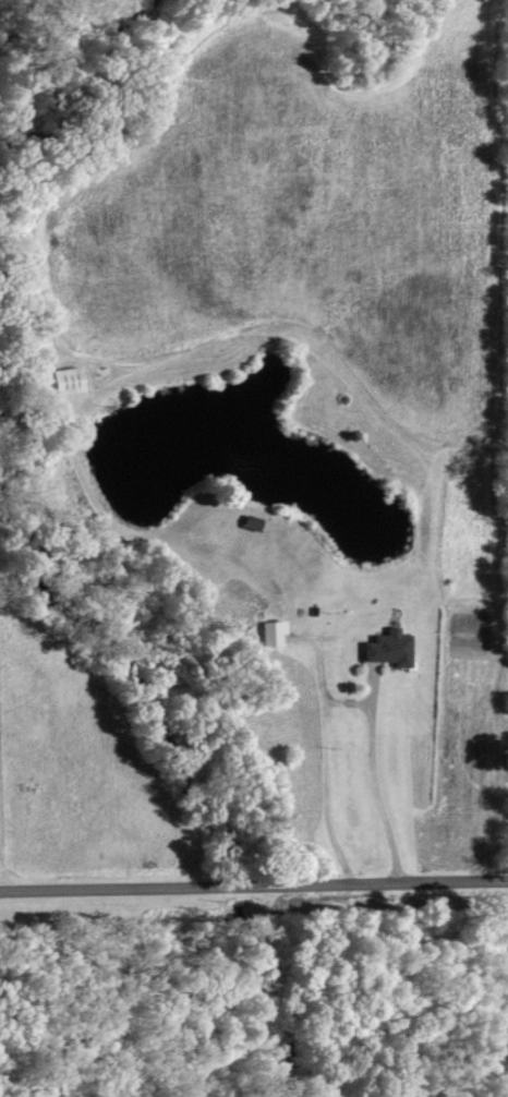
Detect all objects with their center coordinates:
building: (61, 381)
building: (247, 522)
building: (269, 632)
building: (386, 648)
road: (373, 786)
road: (253, 885)

